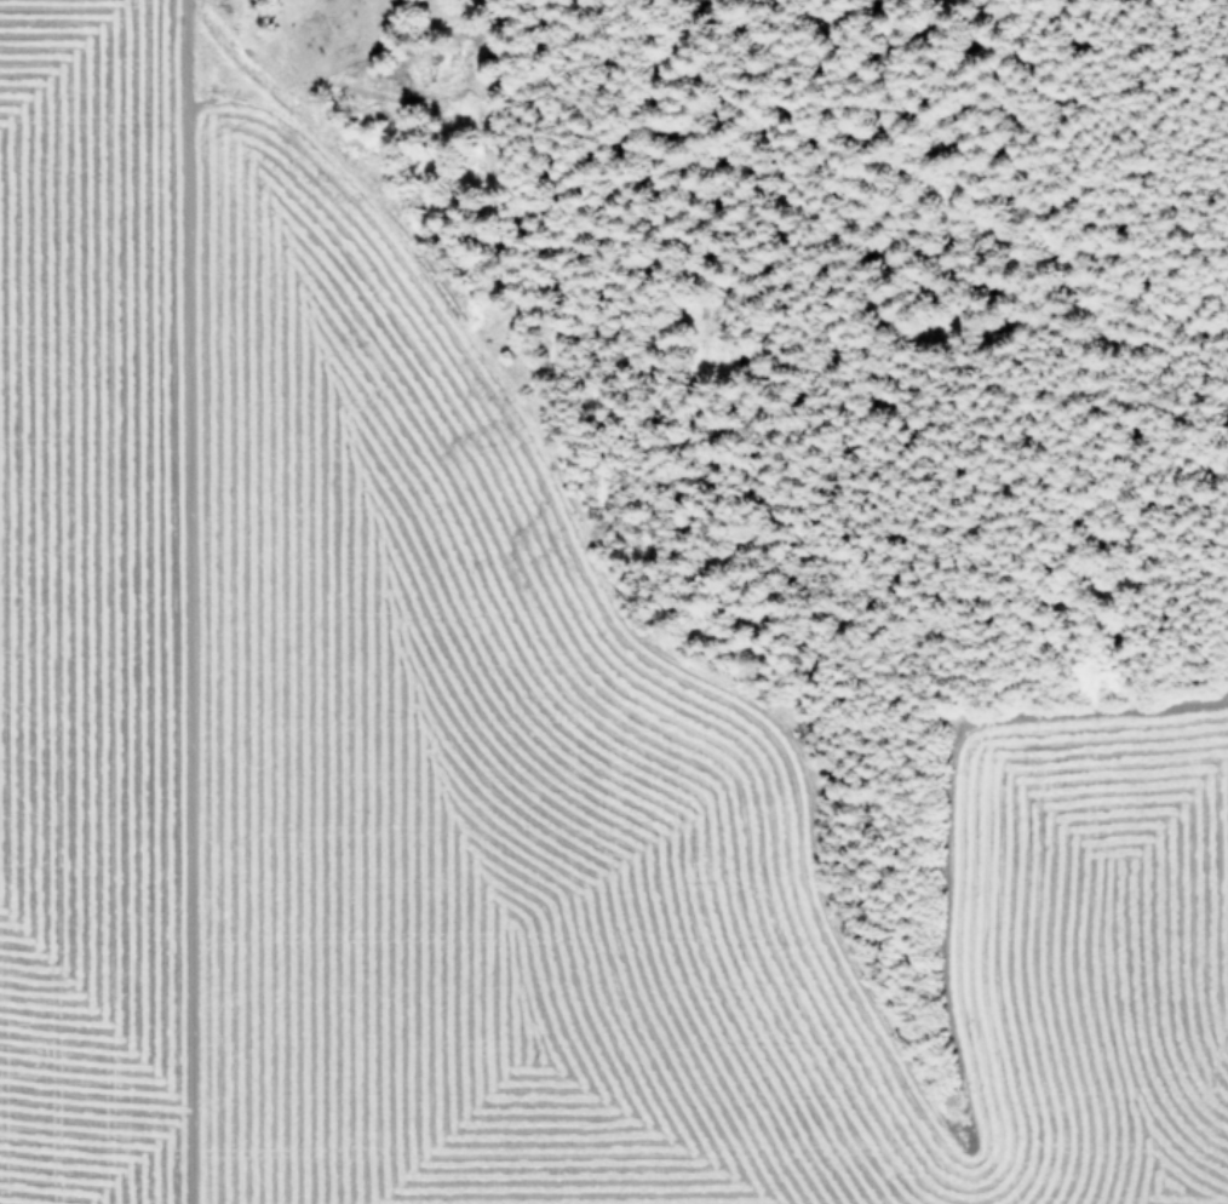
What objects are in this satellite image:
crop: (495, 775)

